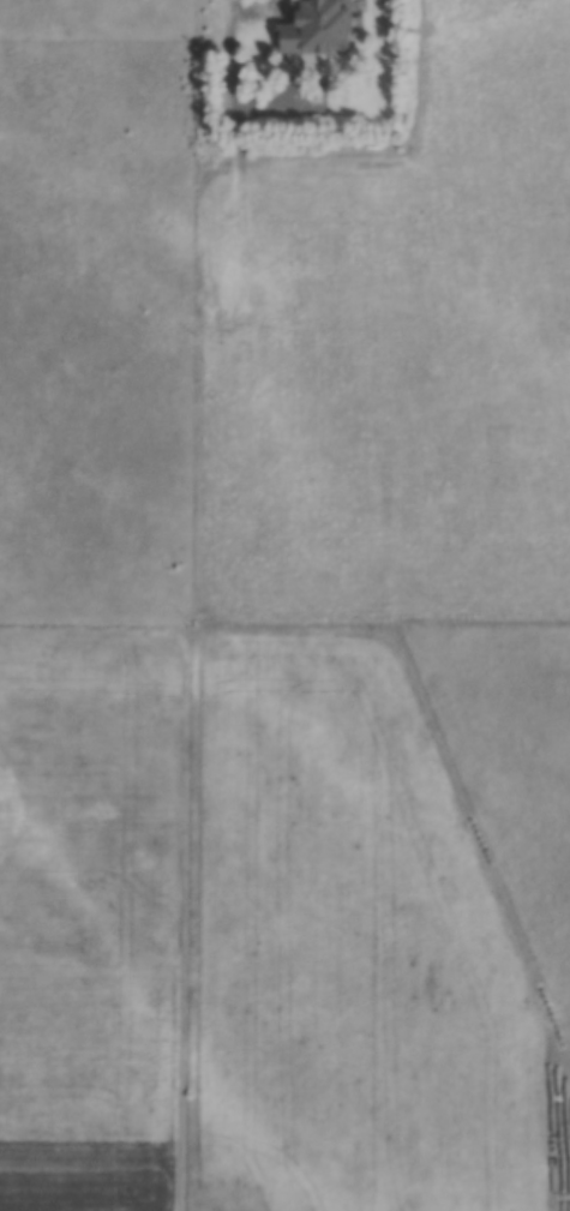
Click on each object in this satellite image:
building: (305, 17)

